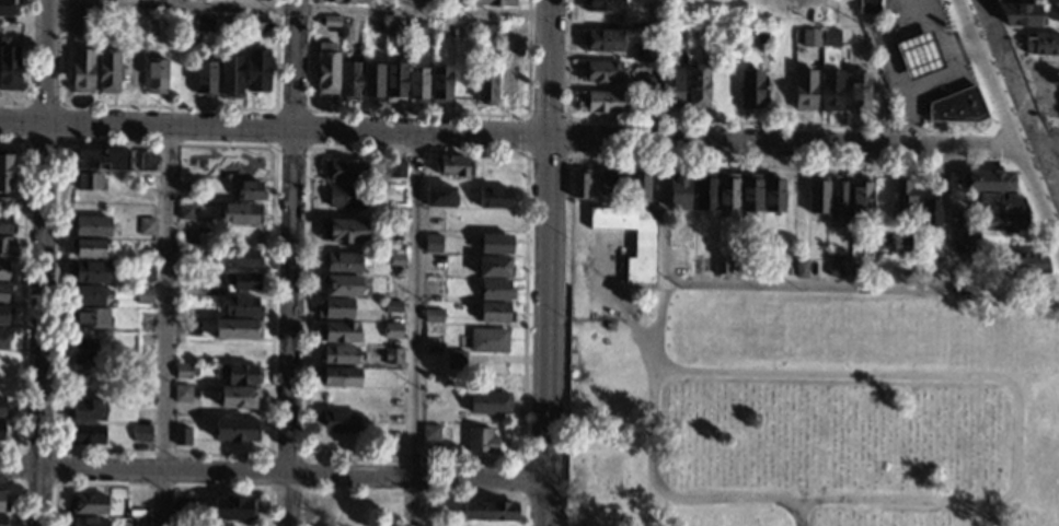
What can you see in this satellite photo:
building: (1029, 1)
road: (169, 2)
building: (348, 2)
building: (439, 2)
building: (493, 2)
road: (418, 5)
building: (602, 5)
building: (7, 7)
building: (867, 7)
building: (1050, 8)
road: (298, 9)
building: (1018, 15)
building: (80, 21)
building: (331, 21)
building: (136, 22)
building: (256, 22)
building: (203, 23)
building: (229, 25)
building: (656, 25)
building: (394, 28)
building: (448, 30)
road: (913, 30)
building: (346, 32)
building: (416, 32)
building: (485, 33)
building: (730, 34)
building: (762, 36)
building: (811, 36)
building: (830, 36)
building: (601, 40)
building: (1041, 45)
building: (717, 46)
building: (643, 52)
building: (918, 56)
gas station: (918, 56)
building: (8, 66)
building: (326, 69)
road: (549, 69)
road: (916, 69)
building: (81, 70)
building: (257, 70)
building: (107, 71)
road: (1021, 71)
building: (600, 72)
road: (873, 72)
building: (130, 73)
road: (1001, 74)
building: (156, 75)
building: (229, 77)
building: (204, 79)
building: (348, 80)
building: (371, 82)
building: (394, 82)
building: (417, 83)
building: (440, 83)
building: (643, 84)
building: (724, 85)
building: (670, 86)
building: (698, 86)
building: (485, 87)
building: (750, 89)
building: (776, 89)
building: (508, 90)
building: (804, 90)
building: (831, 91)
building: (857, 92)
building: (600, 102)
road: (62, 104)
building: (957, 107)
road: (309, 109)
road: (564, 118)
road: (995, 128)
road: (274, 130)
road: (790, 144)
road: (1045, 150)
building: (100, 159)
road: (830, 160)
building: (147, 161)
road: (1056, 164)
road: (1057, 164)
building: (453, 167)
building: (395, 168)
building: (5, 172)
building: (345, 172)
building: (89, 180)
building: (983, 182)
building: (610, 183)
road: (1045, 183)
building: (579, 185)
building: (638, 187)
building: (186, 188)
building: (248, 191)
building: (679, 191)
building: (704, 191)
building: (750, 192)
building: (726, 194)
building: (817, 195)
building: (772, 196)
building: (860, 196)
building: (346, 197)
building: (439, 197)
building: (494, 198)
building: (838, 198)
building: (882, 199)
building: (902, 200)
building: (1000, 203)
building: (4, 204)
building: (186, 211)
building: (929, 212)
building: (241, 213)
building: (958, 220)
building: (1003, 222)
building: (5, 224)
building: (90, 225)
building: (146, 226)
building: (343, 230)
building: (498, 242)
building: (433, 243)
building: (644, 244)
building: (7, 246)
building: (88, 248)
building: (831, 249)
building: (239, 258)
building: (395, 260)
road: (44, 262)
road: (292, 262)
building: (344, 262)
building: (1023, 262)
building: (700, 265)
building: (722, 266)
building: (833, 266)
building: (494, 267)
building: (750, 267)
building: (681, 269)
building: (801, 269)
building: (3, 271)
building: (88, 272)
building: (145, 272)
building: (241, 280)
road: (806, 284)
building: (341, 285)
building: (964, 287)
building: (494, 290)
road: (22, 291)
building: (2, 293)
building: (143, 295)
building: (89, 296)
building: (180, 305)
road: (624, 305)
building: (242, 306)
building: (392, 307)
building: (335, 308)
building: (494, 312)
building: (4, 314)
building: (433, 315)
building: (88, 317)
road: (663, 324)
road: (164, 326)
building: (237, 329)
building: (392, 330)
road: (415, 330)
road: (548, 332)
building: (338, 334)
building: (4, 337)
building: (488, 340)
building: (84, 352)
building: (240, 352)
building: (339, 354)
building: (392, 356)
building: (456, 360)
building: (184, 371)
building: (241, 374)
road: (861, 374)
building: (336, 377)
building: (183, 394)
building: (238, 397)
building: (488, 404)
building: (2, 409)
building: (84, 409)
park: (819, 409)
building: (394, 419)
building: (336, 422)
building: (235, 430)
building: (2, 433)
building: (140, 433)
building: (430, 433)
building: (83, 434)
building: (181, 436)
building: (481, 441)
road: (268, 455)
road: (521, 460)
road: (273, 474)
road: (20, 479)
road: (522, 479)
road: (159, 486)
road: (269, 489)
road: (410, 492)
road: (20, 493)
building: (88, 504)
building: (3, 505)
building: (181, 507)
building: (137, 509)
building: (232, 509)
building: (488, 511)
road: (799, 514)
building: (2, 521)
building: (88, 522)
building: (139, 523)
building: (487, 524)

